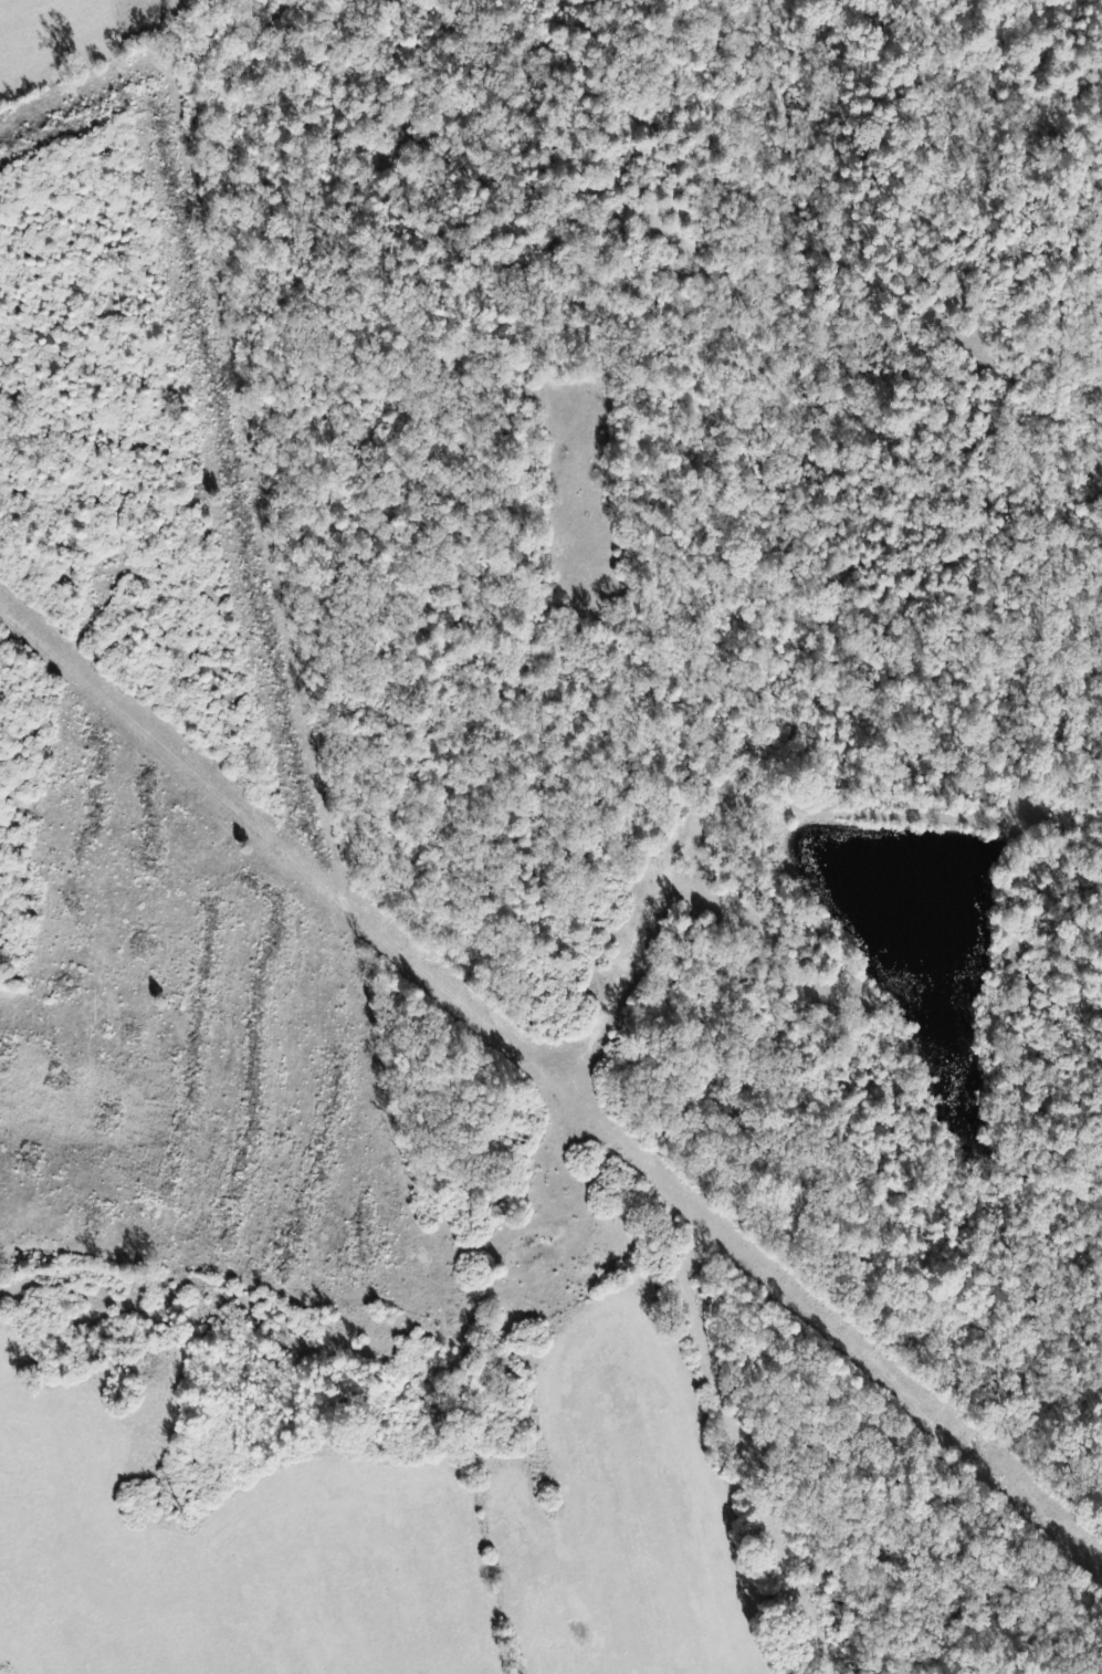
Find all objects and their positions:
road: (717, 1377)

